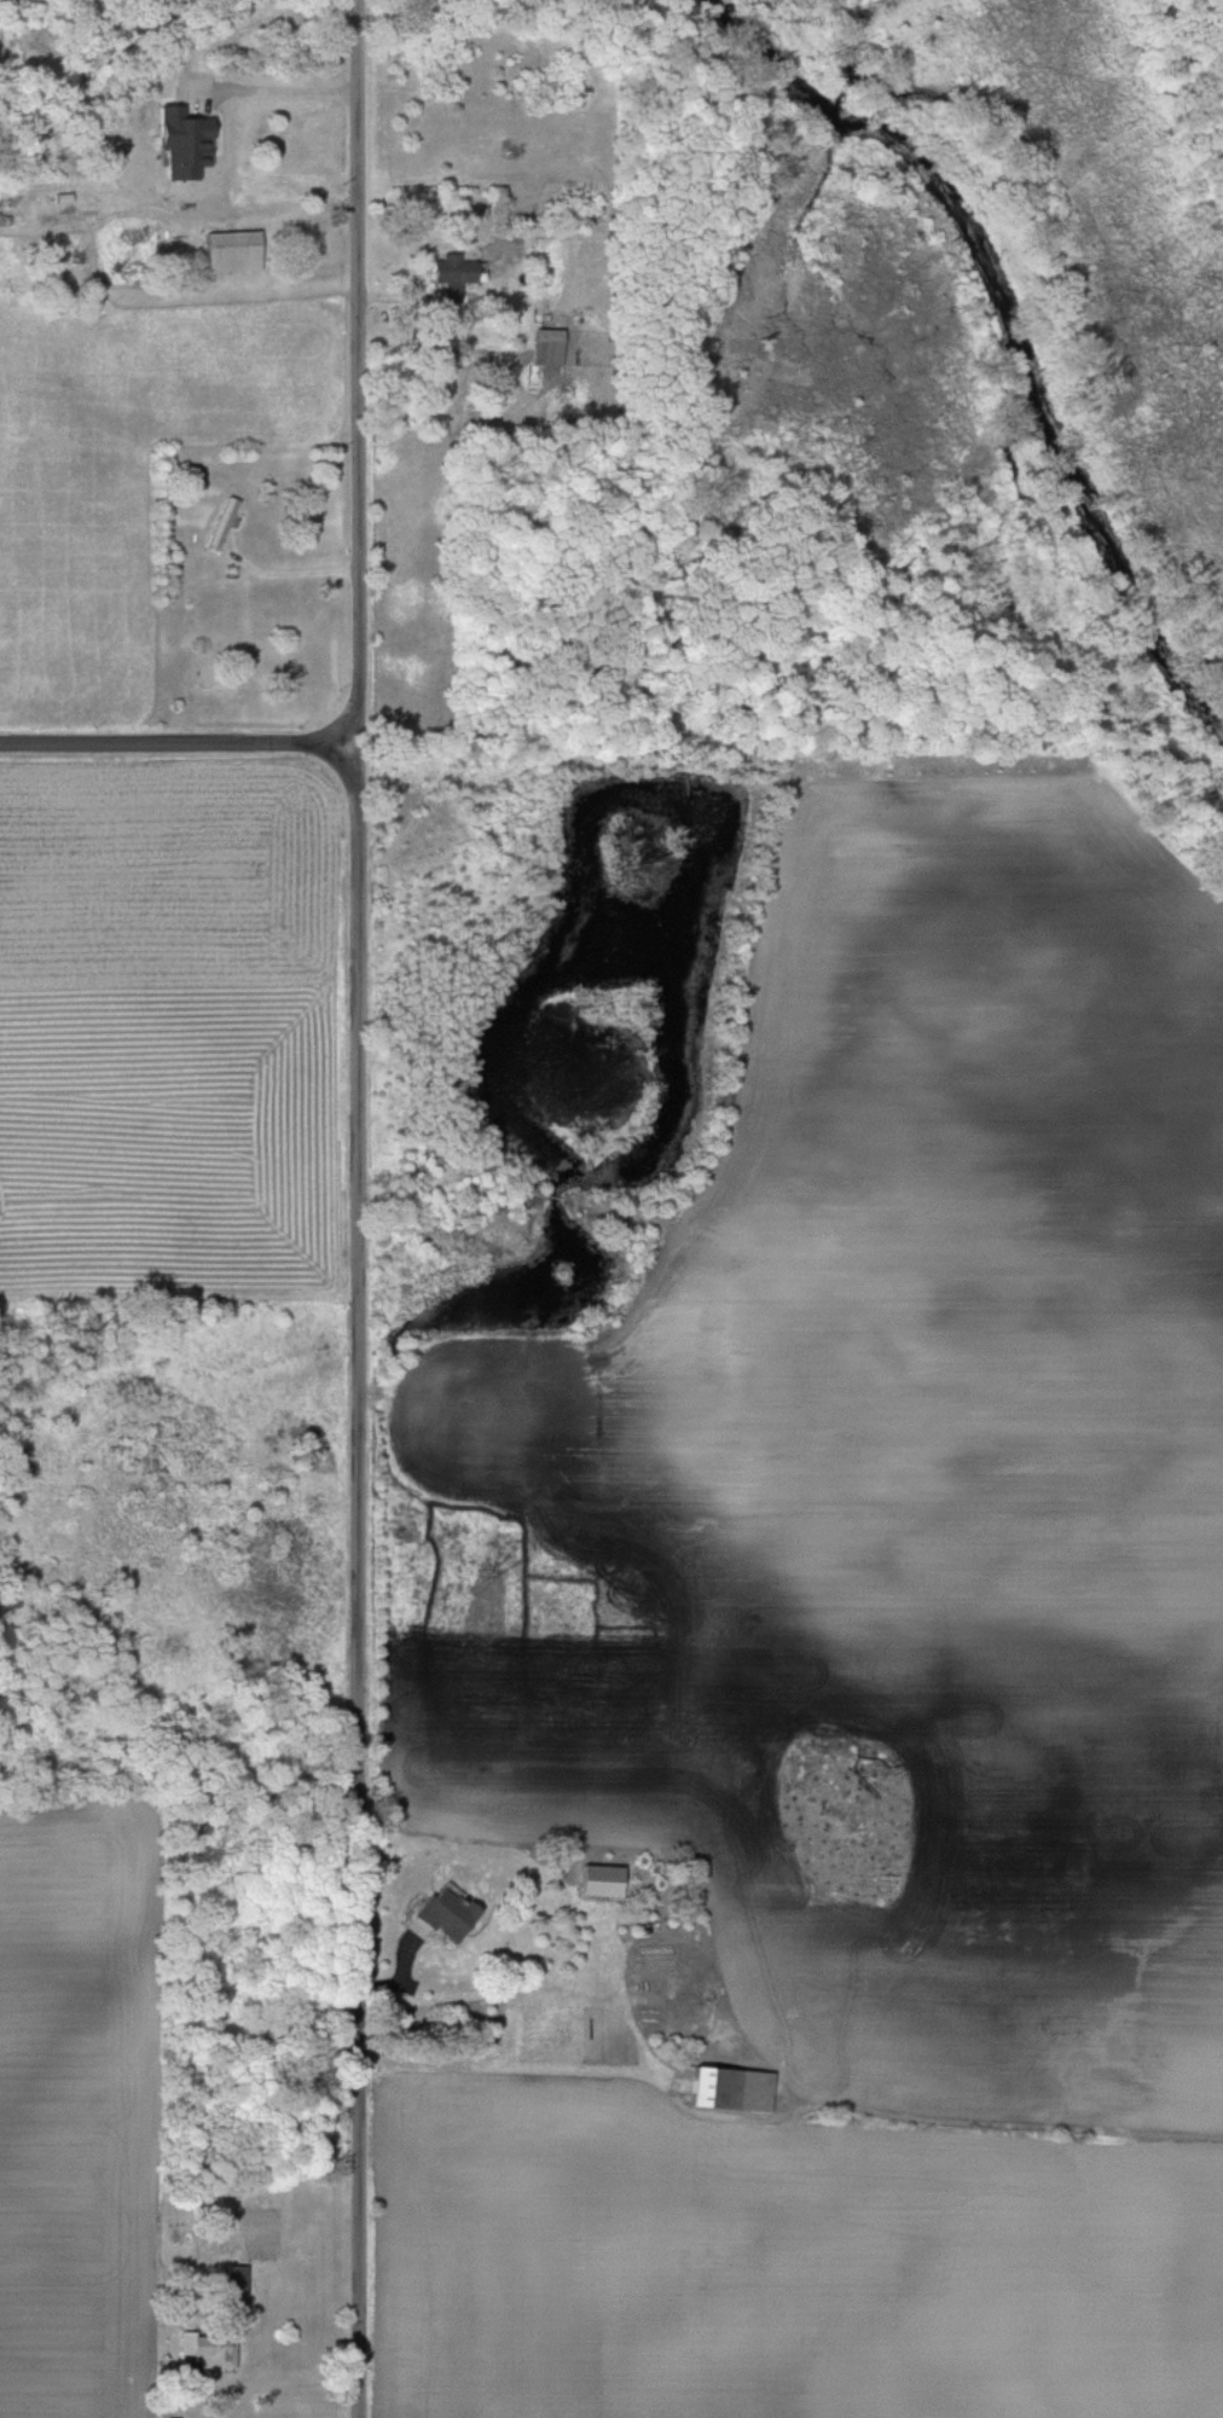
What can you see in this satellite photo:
building: (167, 145)
road: (268, 218)
building: (231, 250)
building: (450, 276)
building: (547, 347)
road: (180, 743)
road: (359, 1208)
building: (599, 1879)
building: (730, 2088)
building: (236, 2281)
building: (209, 2348)
road: (225, 2382)

